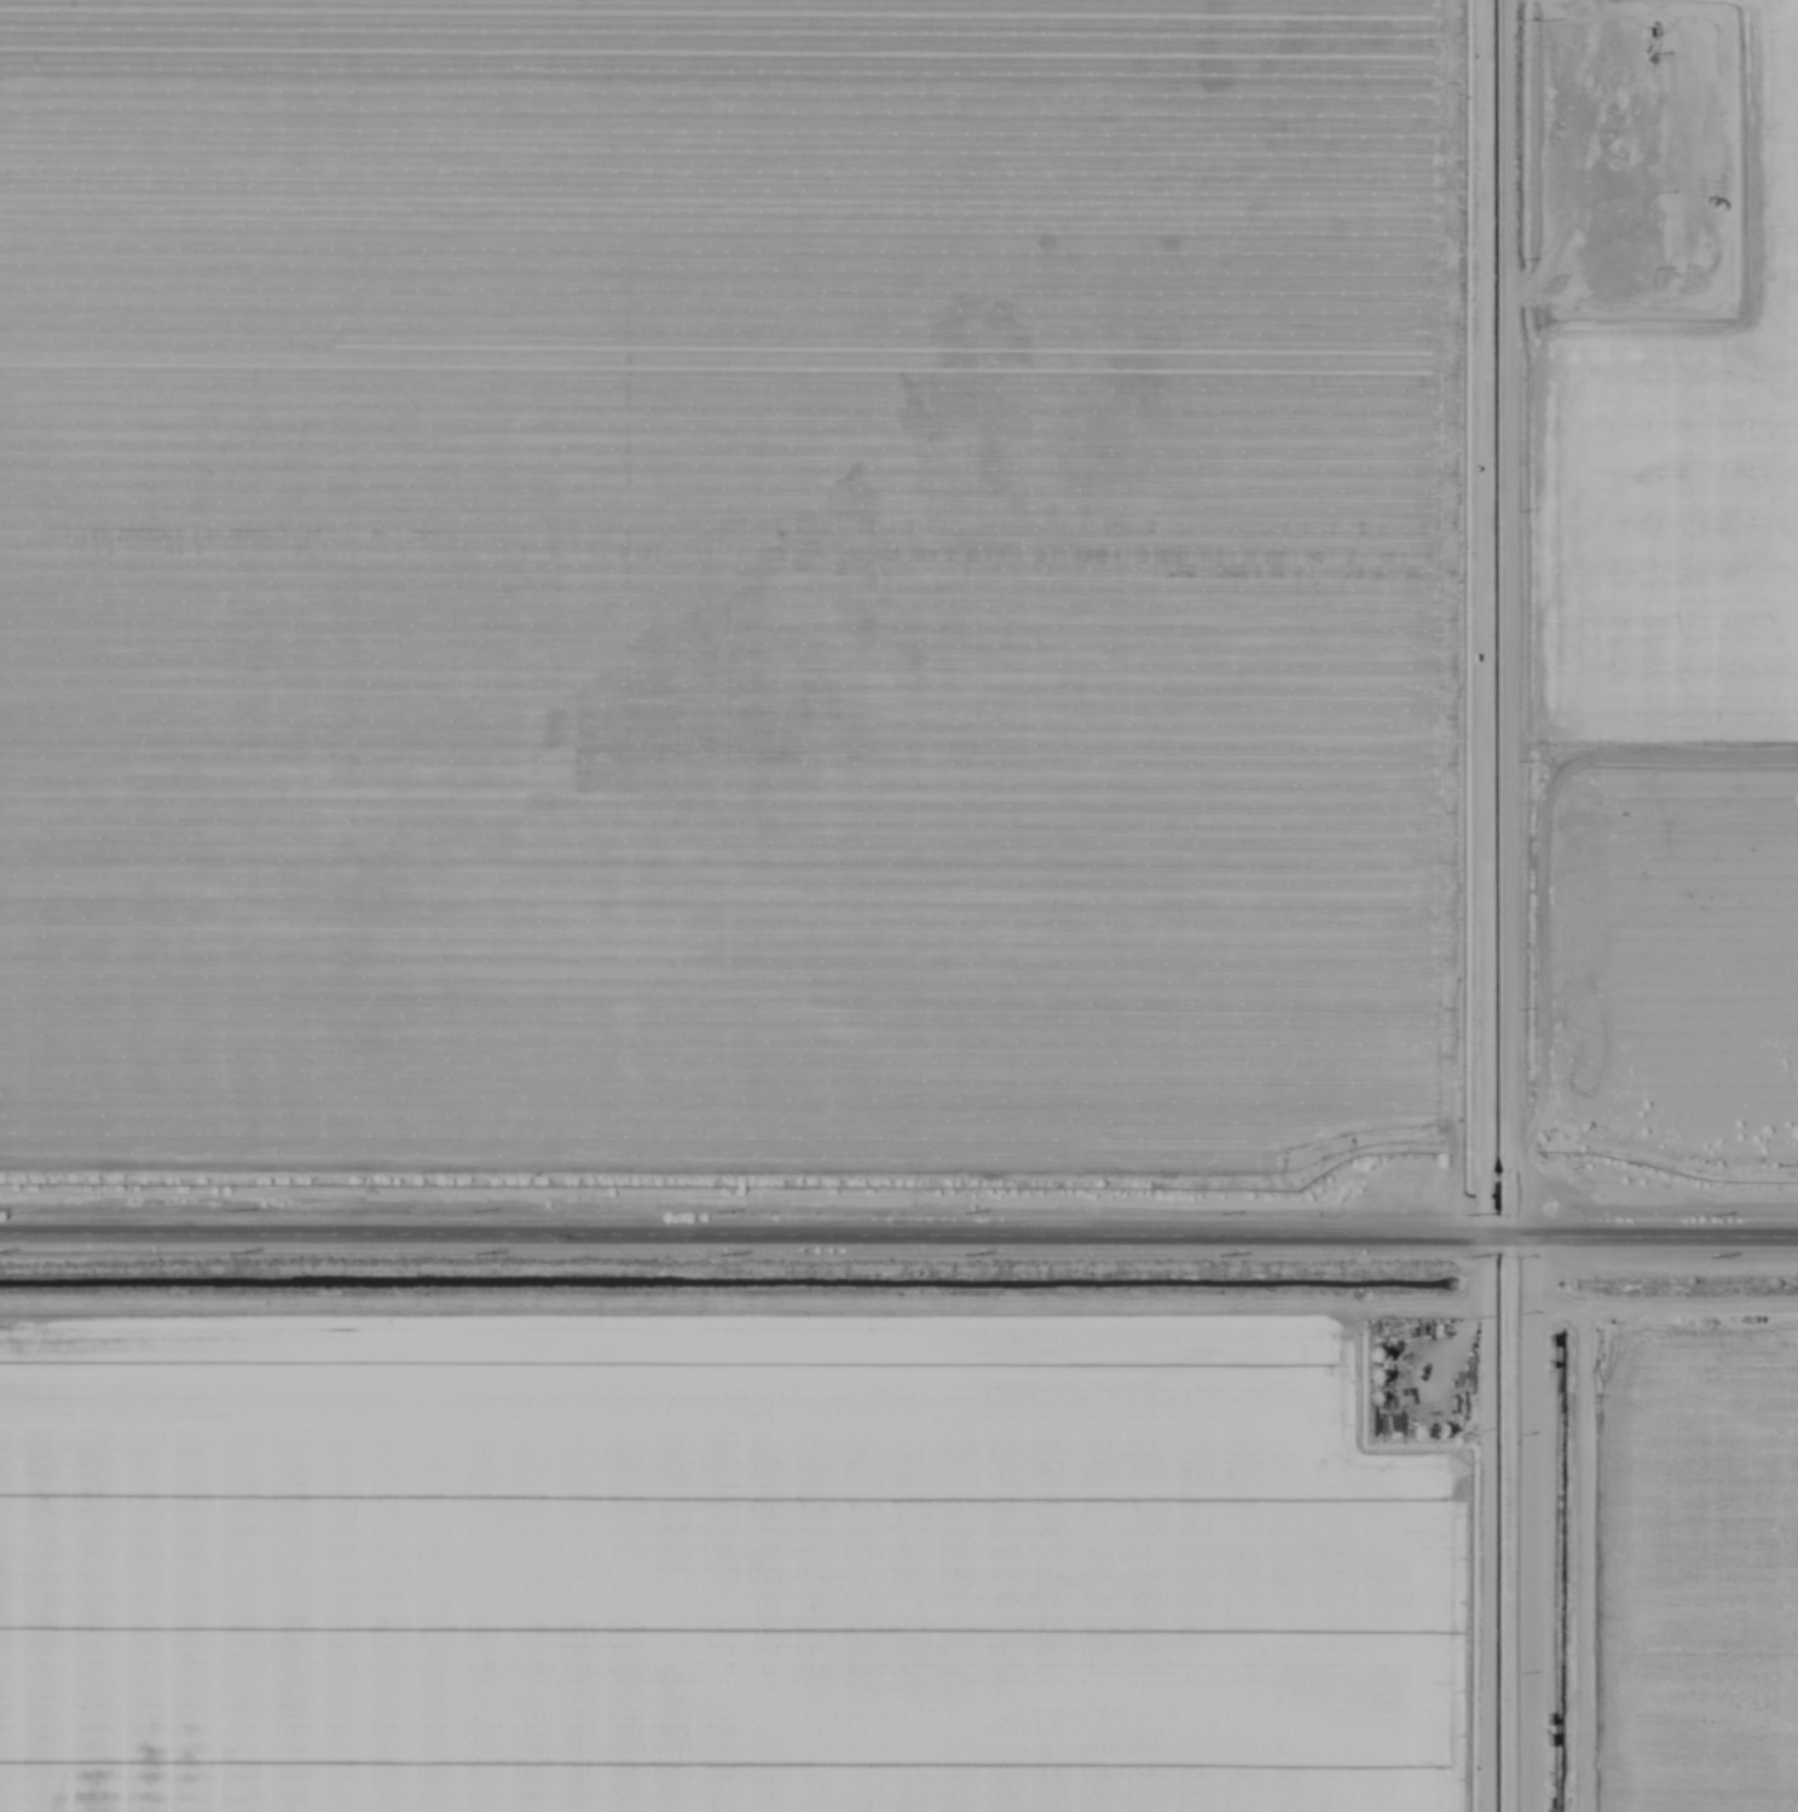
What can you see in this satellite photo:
road: (1479, 616)
road: (898, 1232)
road: (1482, 1523)

